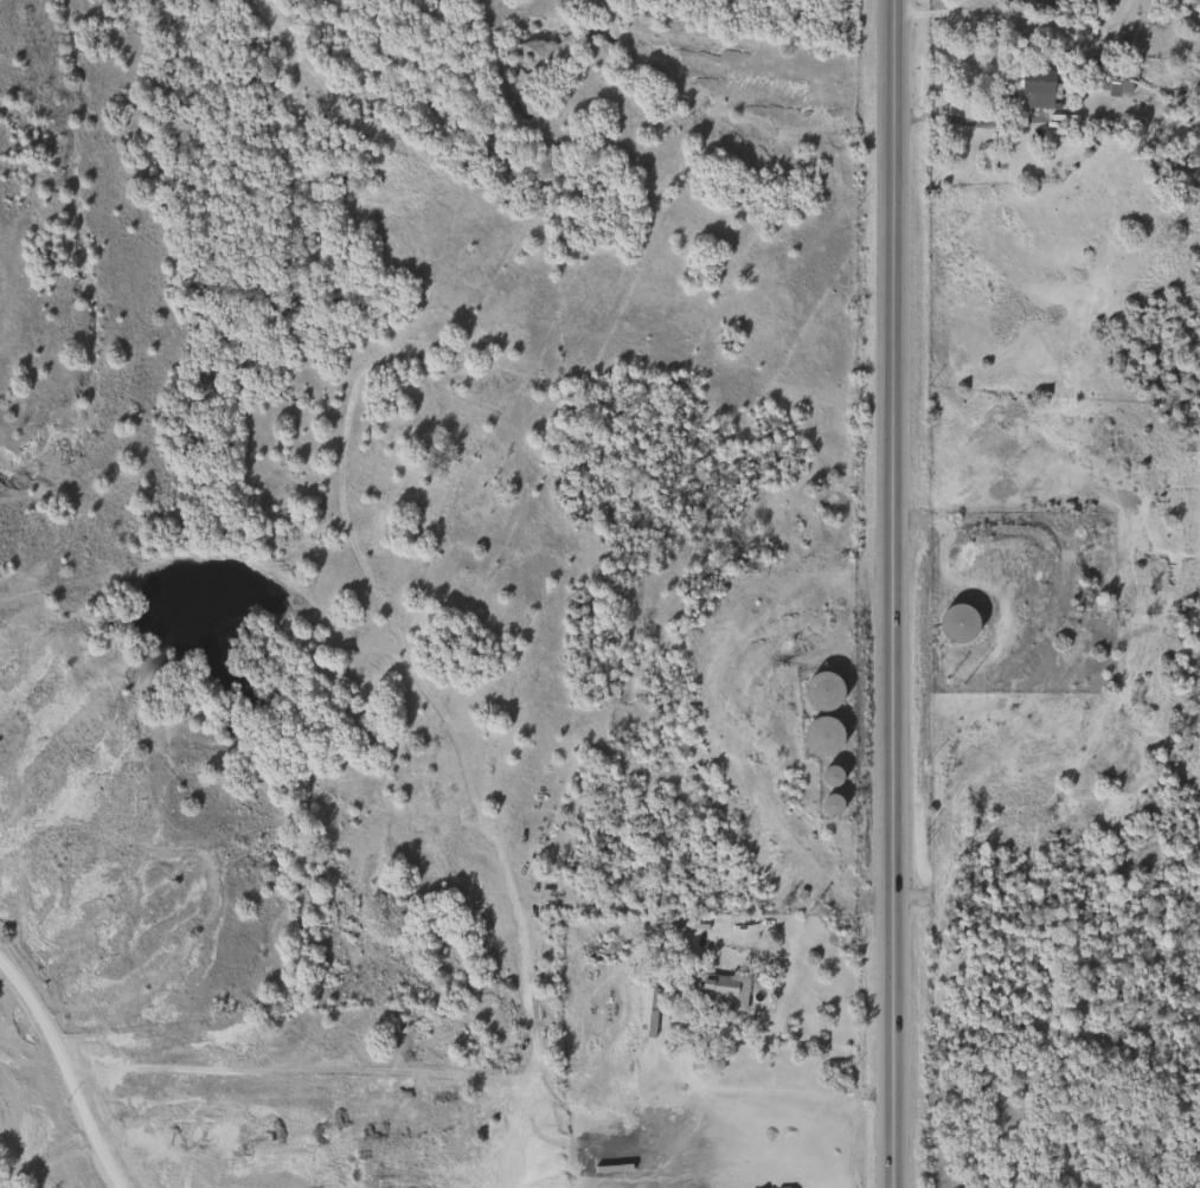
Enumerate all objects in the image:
road: (1018, 19)
building: (1035, 83)
building: (1114, 88)
road: (962, 121)
road: (1045, 264)
road: (891, 593)
building: (956, 624)
building: (821, 688)
building: (820, 736)
building: (829, 775)
building: (829, 804)
building: (719, 991)
building: (646, 1012)
road: (70, 1068)
road: (753, 1091)
road: (744, 1156)

